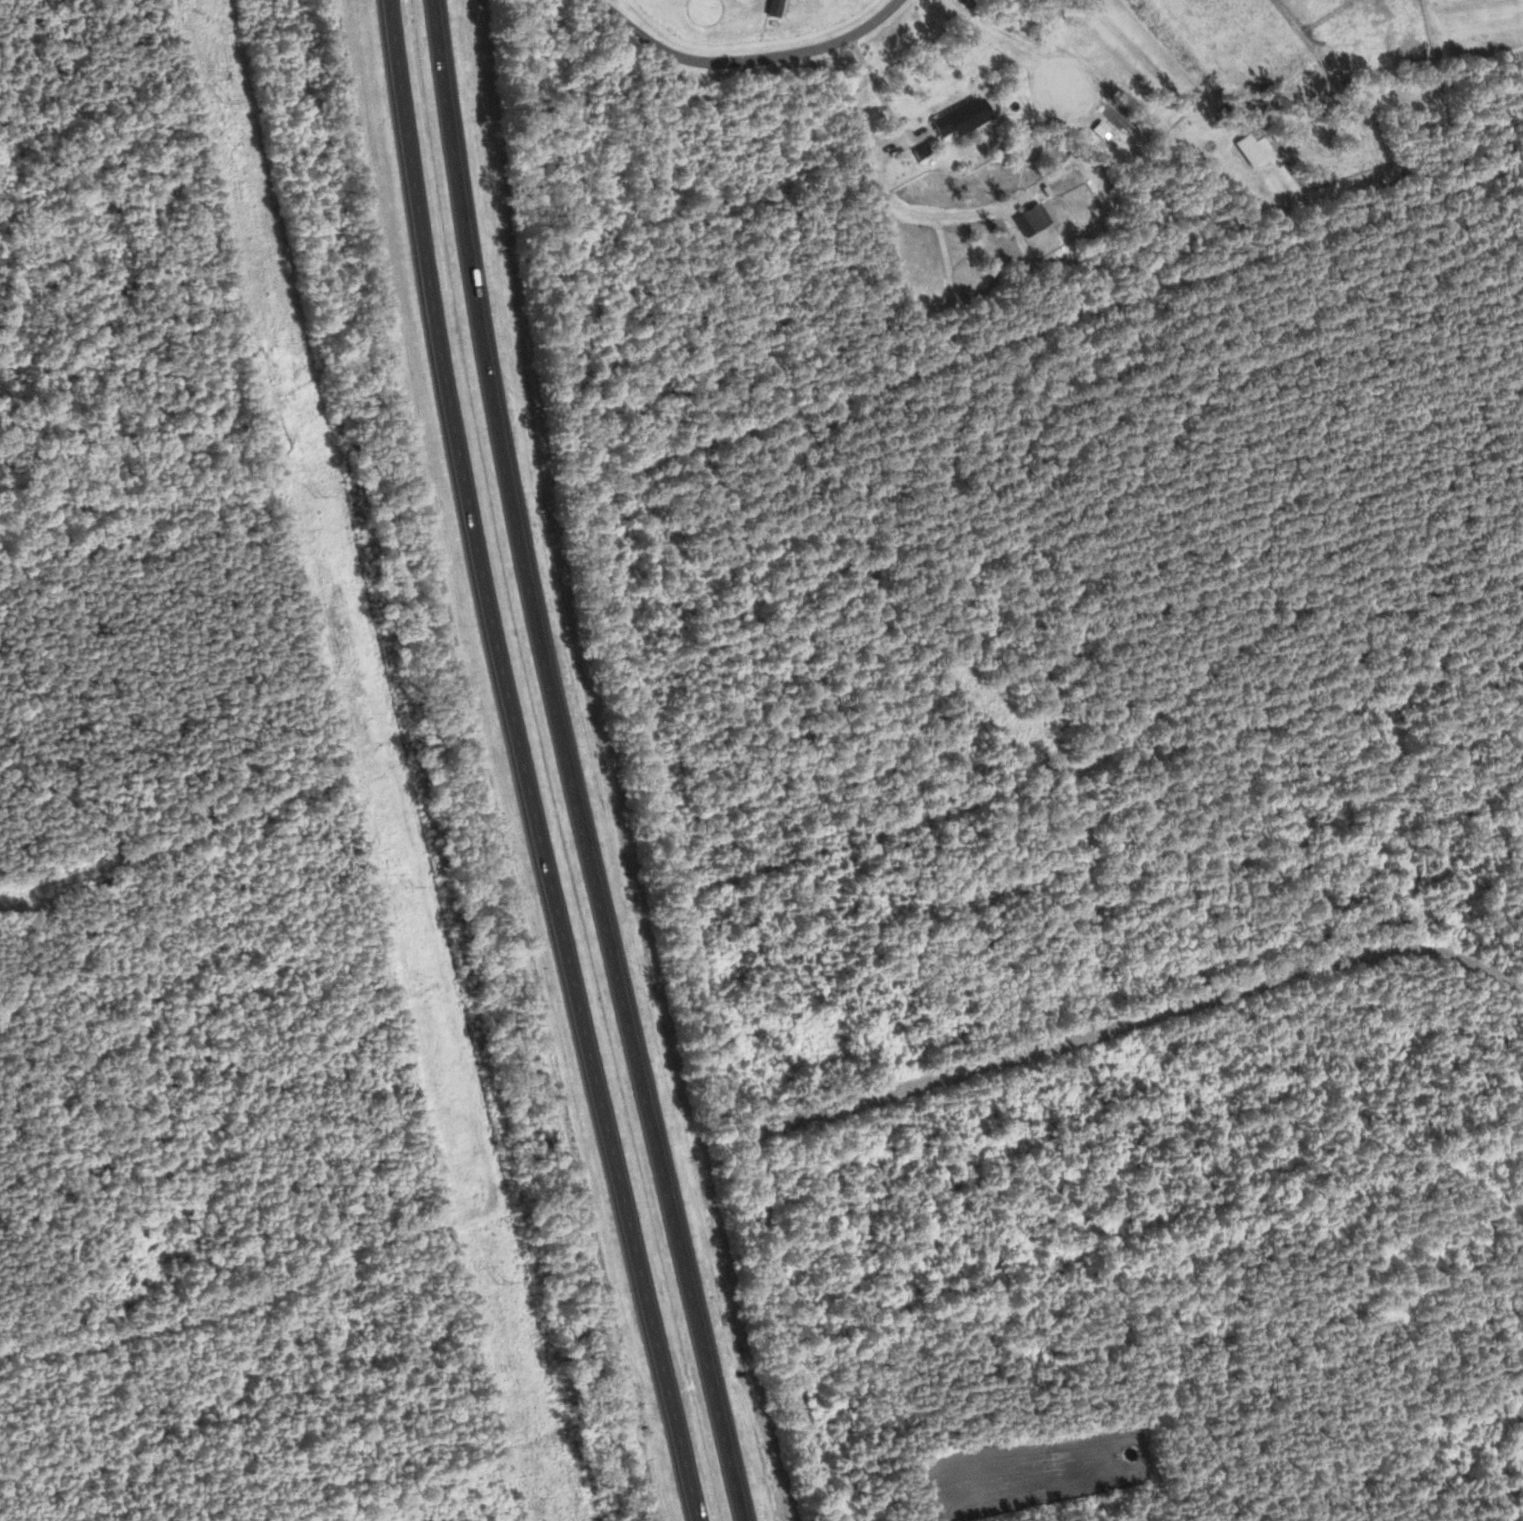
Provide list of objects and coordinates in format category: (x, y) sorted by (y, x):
road: (744, 58)
road: (874, 83)
power tower: (226, 99)
building: (958, 116)
building: (1247, 149)
road: (897, 202)
building: (1032, 216)
power tower: (317, 495)
road: (523, 764)
road: (567, 764)
power tower: (405, 883)
road: (1122, 1030)
power tower: (499, 1279)

